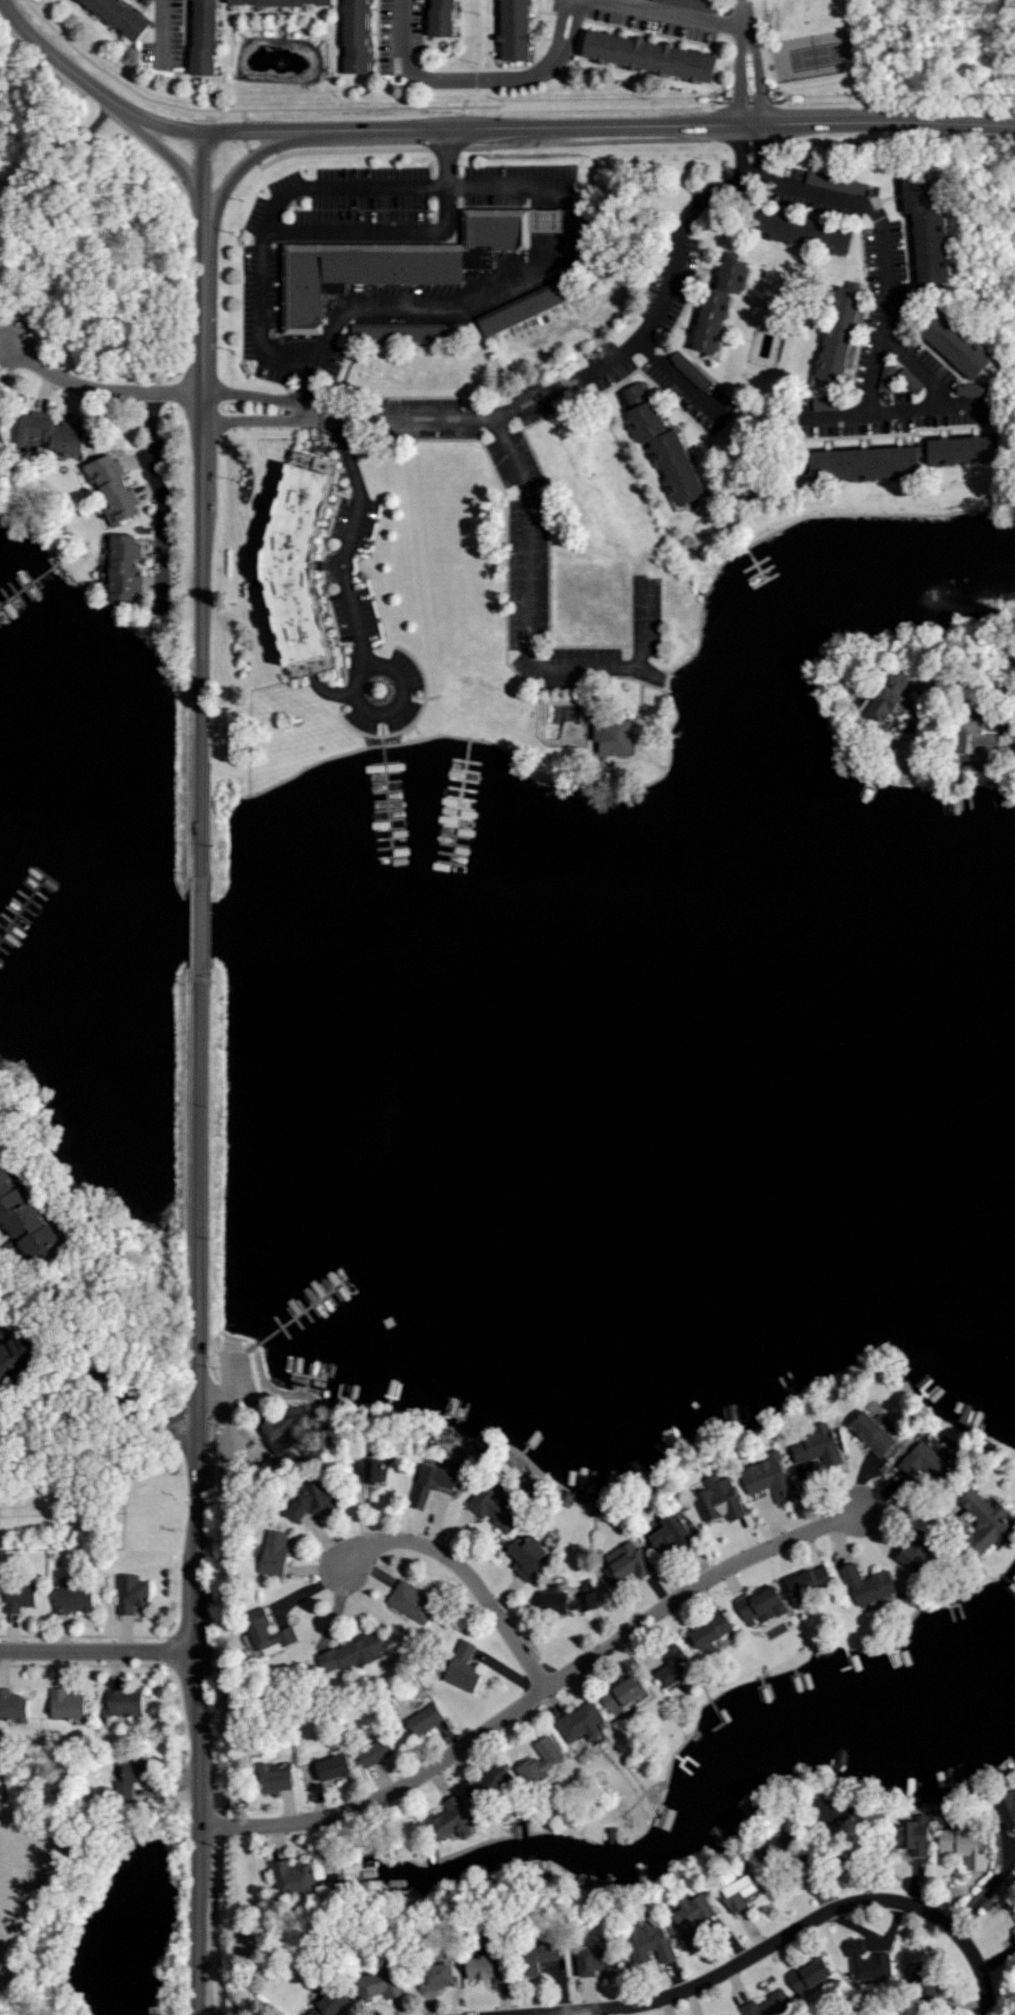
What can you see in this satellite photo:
building: (288, 2)
building: (692, 4)
road: (669, 15)
building: (123, 17)
building: (446, 18)
building: (519, 29)
road: (164, 35)
building: (360, 36)
building: (207, 37)
building: (657, 56)
road: (748, 62)
road: (480, 80)
road: (91, 86)
road: (242, 111)
road: (610, 130)
road: (883, 135)
road: (599, 142)
road: (320, 150)
road: (752, 154)
road: (173, 157)
road: (447, 160)
road: (238, 171)
road: (205, 175)
building: (838, 183)
road: (816, 192)
building: (557, 222)
road: (377, 232)
building: (809, 232)
building: (394, 263)
building: (738, 276)
road: (204, 281)
building: (528, 306)
building: (716, 321)
road: (260, 329)
building: (845, 332)
building: (404, 333)
road: (3, 345)
building: (963, 346)
road: (3, 351)
road: (920, 369)
building: (691, 370)
building: (889, 376)
building: (912, 380)
road: (683, 381)
road: (244, 389)
building: (975, 389)
road: (109, 392)
road: (961, 393)
building: (831, 404)
road: (869, 414)
road: (480, 417)
road: (252, 418)
road: (203, 428)
building: (4, 434)
building: (56, 434)
building: (665, 444)
building: (968, 451)
building: (871, 464)
building: (116, 489)
road: (161, 503)
road: (344, 554)
building: (305, 566)
building: (126, 567)
road: (528, 604)
road: (642, 623)
road: (245, 647)
road: (979, 684)
road: (202, 694)
building: (618, 735)
building: (990, 743)
road: (200, 936)
building: (28, 1220)
road: (199, 1279)
building: (20, 1356)
road: (99, 1376)
building: (4, 1390)
building: (289, 1430)
building: (877, 1434)
building: (822, 1447)
building: (927, 1463)
building: (373, 1471)
building: (772, 1478)
building: (437, 1480)
building: (316, 1499)
building: (721, 1499)
building: (500, 1506)
road: (914, 1511)
building: (989, 1519)
building: (677, 1533)
building: (278, 1553)
building: (919, 1554)
building: (531, 1559)
building: (629, 1563)
road: (467, 1575)
building: (813, 1581)
building: (871, 1585)
building: (133, 1593)
building: (21, 1598)
building: (77, 1599)
road: (198, 1599)
building: (567, 1601)
building: (414, 1602)
building: (763, 1602)
building: (271, 1633)
building: (714, 1633)
road: (99, 1652)
building: (356, 1652)
building: (467, 1668)
building: (679, 1671)
building: (630, 1694)
road: (538, 1695)
building: (127, 1702)
building: (69, 1705)
building: (14, 1707)
building: (428, 1718)
building: (584, 1722)
road: (199, 1731)
building: (377, 1752)
building: (546, 1760)
building: (336, 1767)
building: (135, 1777)
building: (278, 1779)
building: (492, 1783)
building: (833, 1809)
building: (1008, 1810)
building: (454, 1819)
building: (921, 1836)
building: (966, 1846)
building: (296, 1878)
building: (743, 1894)
road: (986, 1896)
road: (199, 1920)
building: (697, 1920)
road: (219, 1921)
road: (794, 1930)
building: (652, 1943)
building: (549, 1952)
building: (600, 1961)
building: (870, 1962)
building: (493, 1968)
building: (814, 1975)
building: (439, 1977)
building: (384, 1984)
building: (933, 1985)
building: (333, 2004)
building: (771, 2005)

